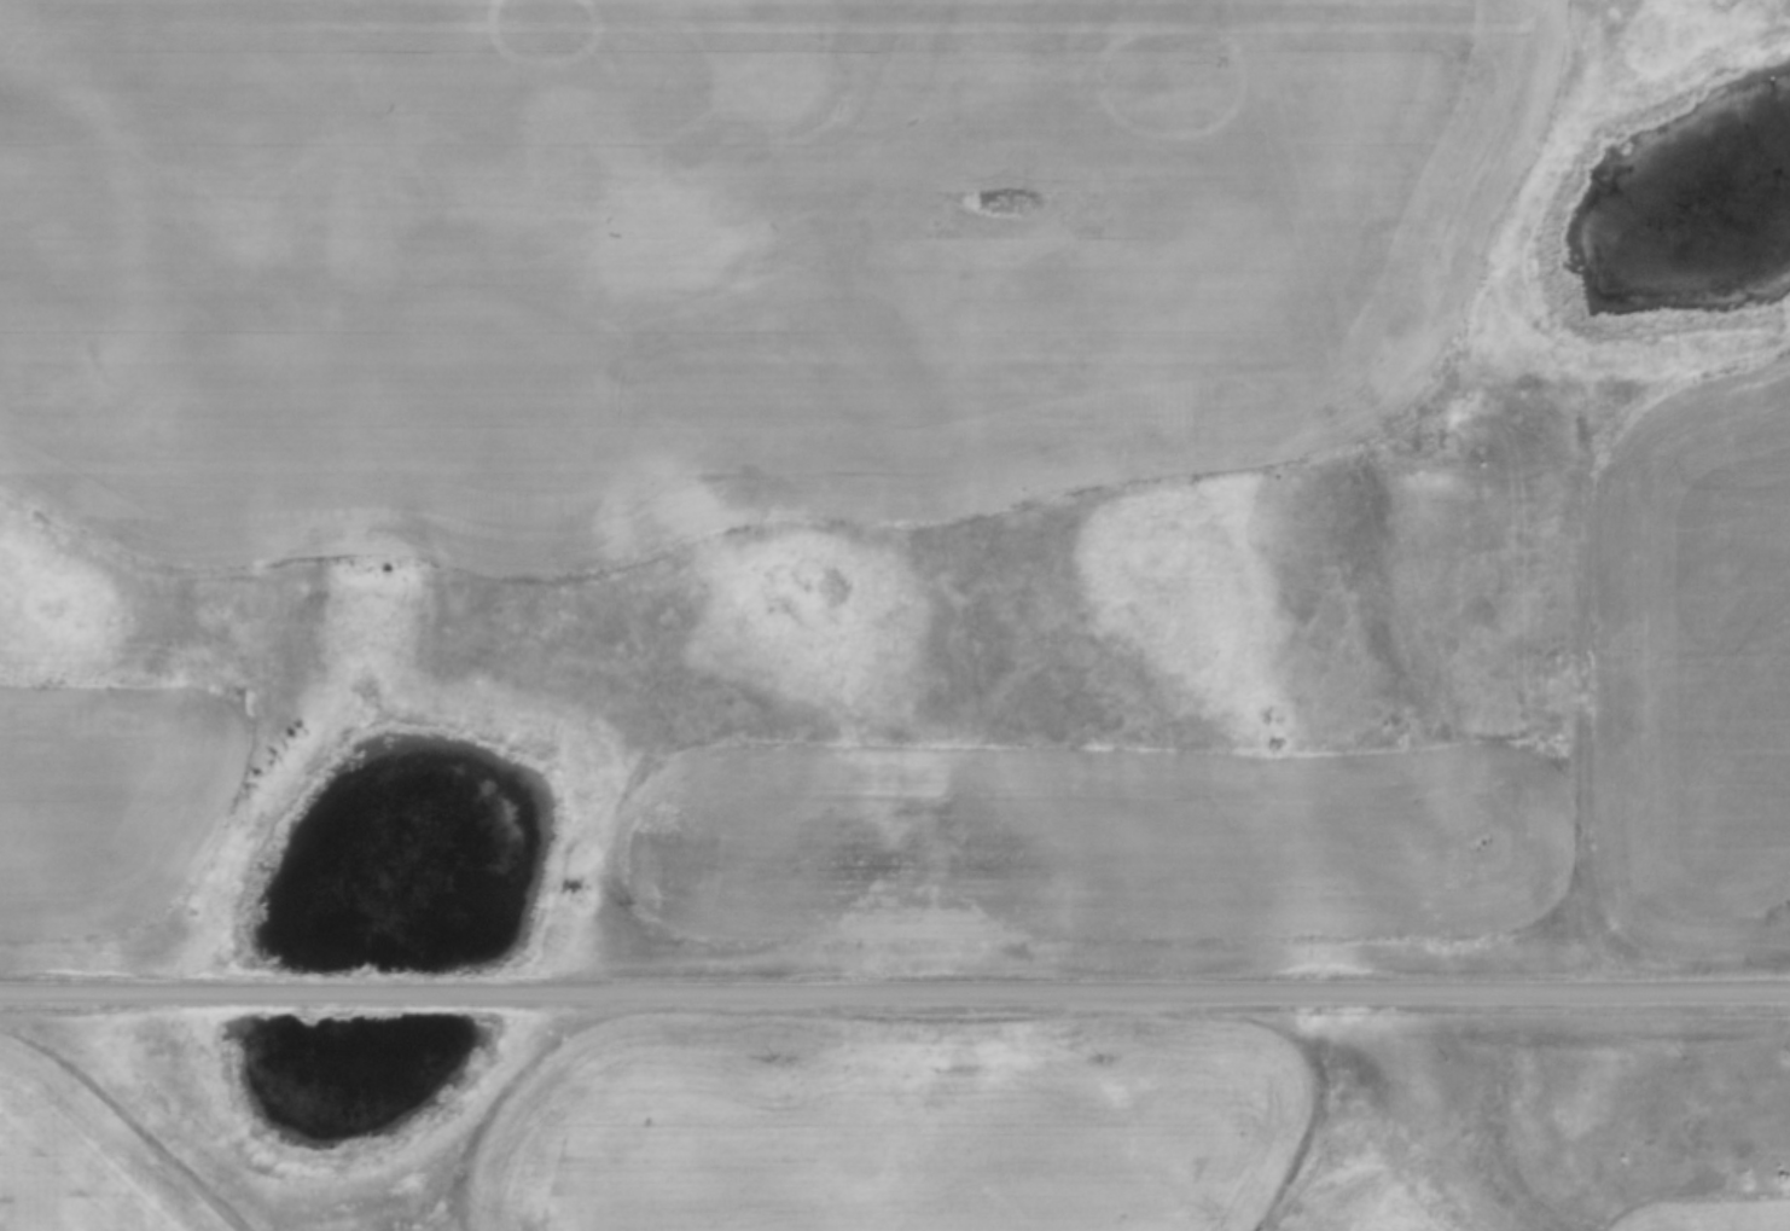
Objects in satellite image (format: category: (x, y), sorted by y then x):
road: (1588, 605)
road: (895, 997)

